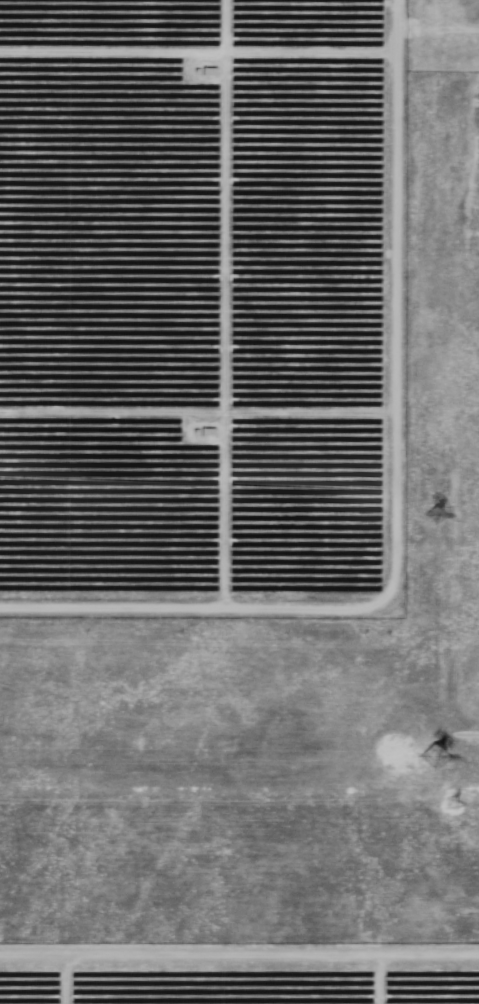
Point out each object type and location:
solar farm: (239, 502)
power tower: (417, 512)
power tower: (414, 756)
power tower: (454, 806)

